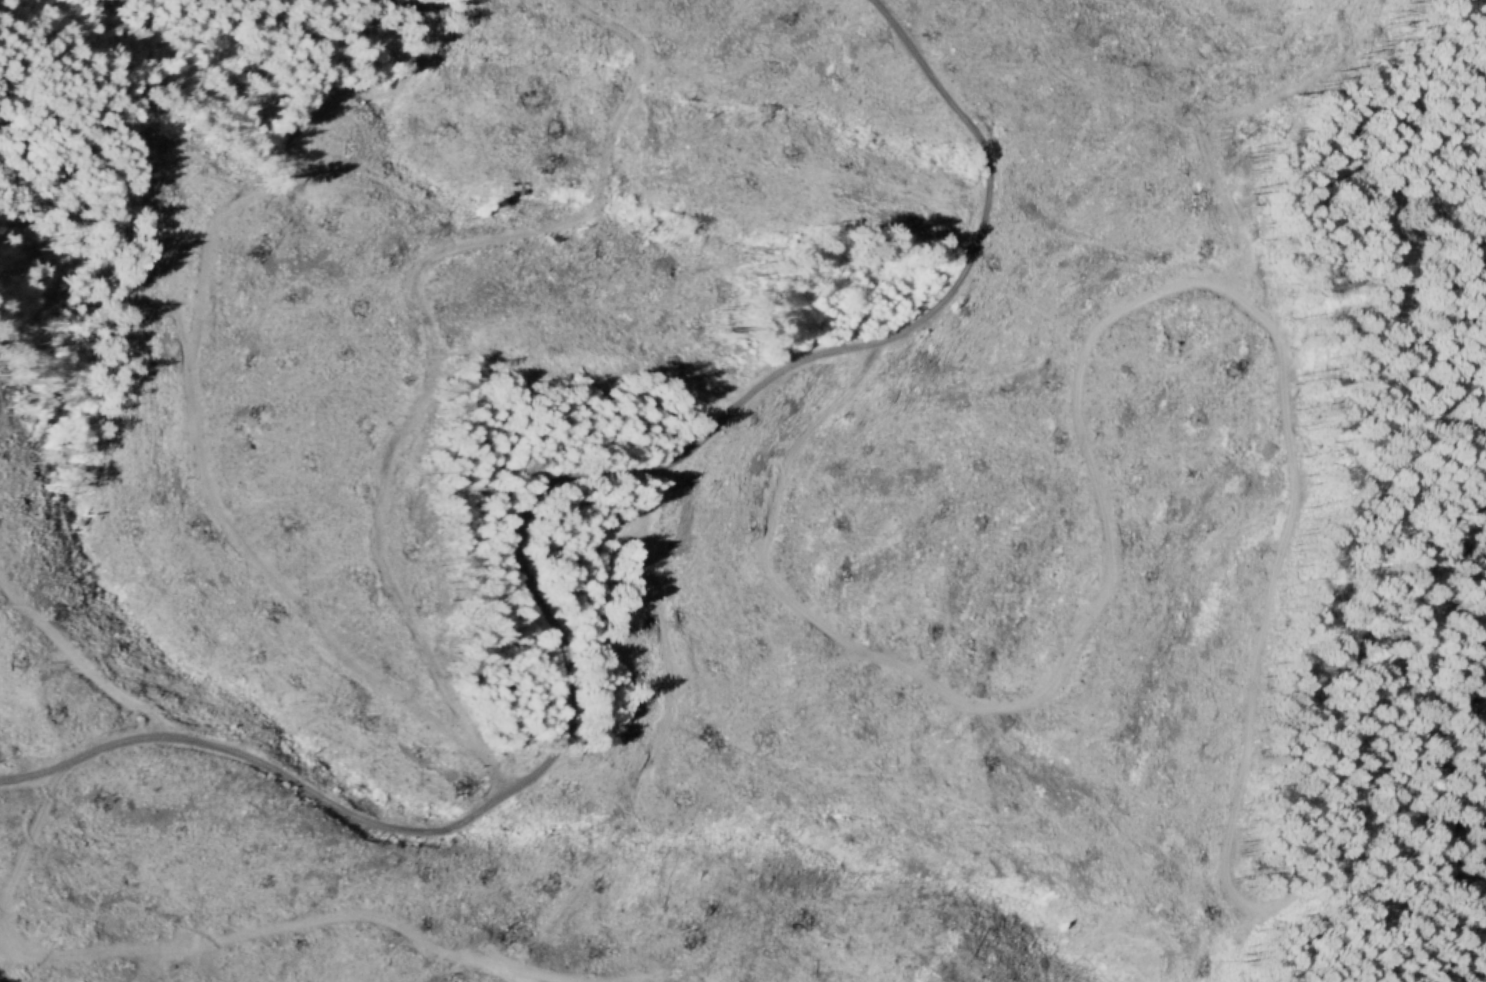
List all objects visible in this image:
road: (530, 525)
road: (881, 691)

